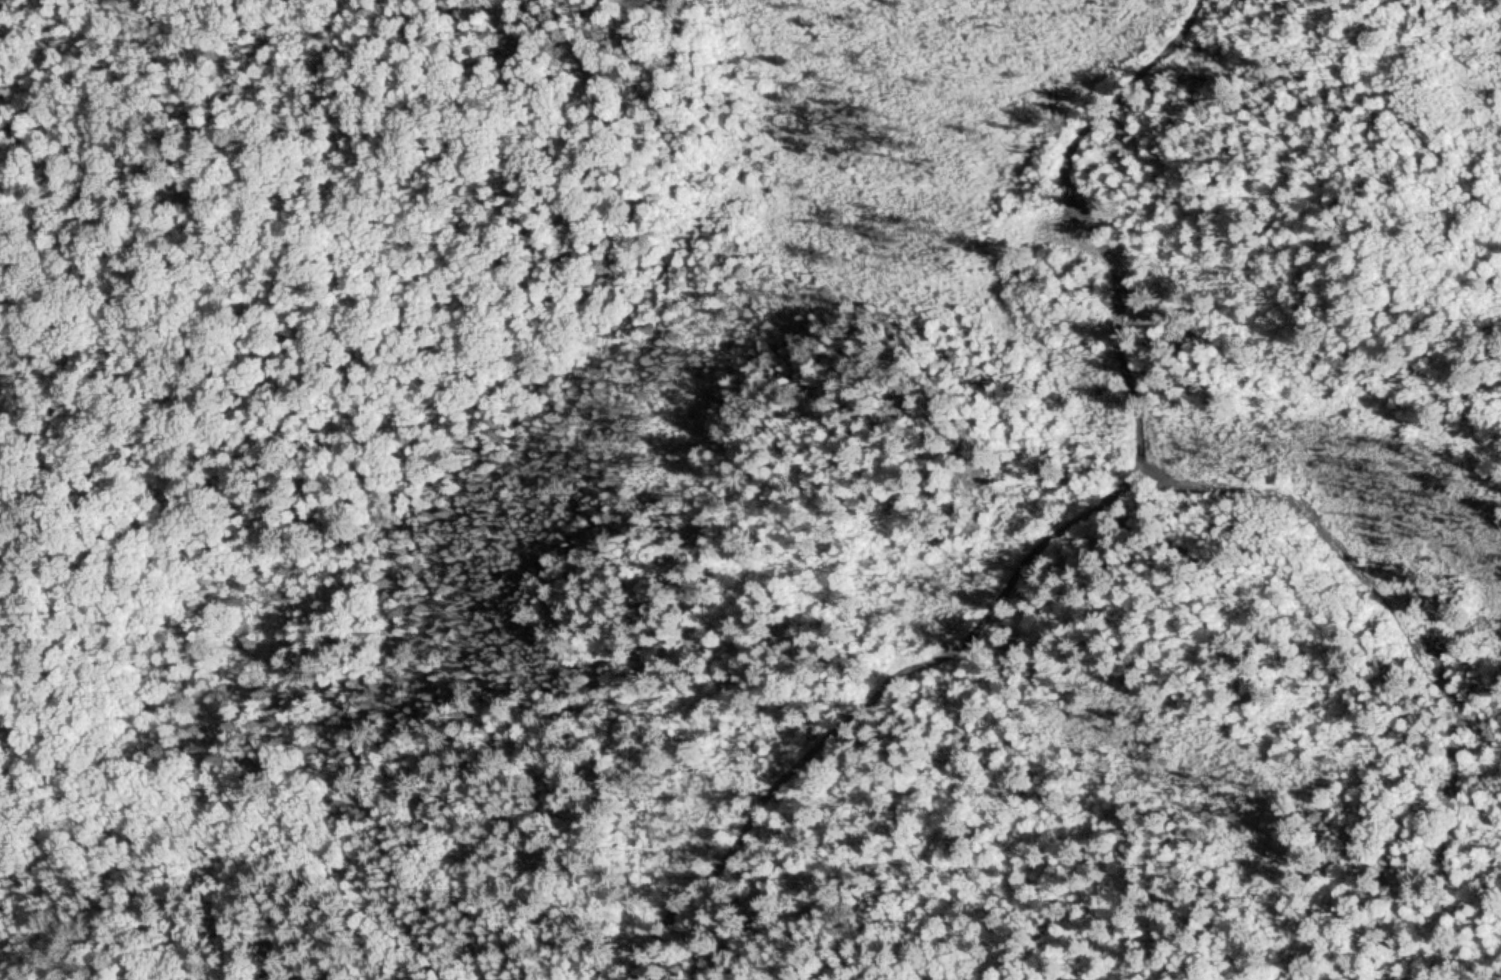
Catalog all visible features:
road: (1068, 522)

